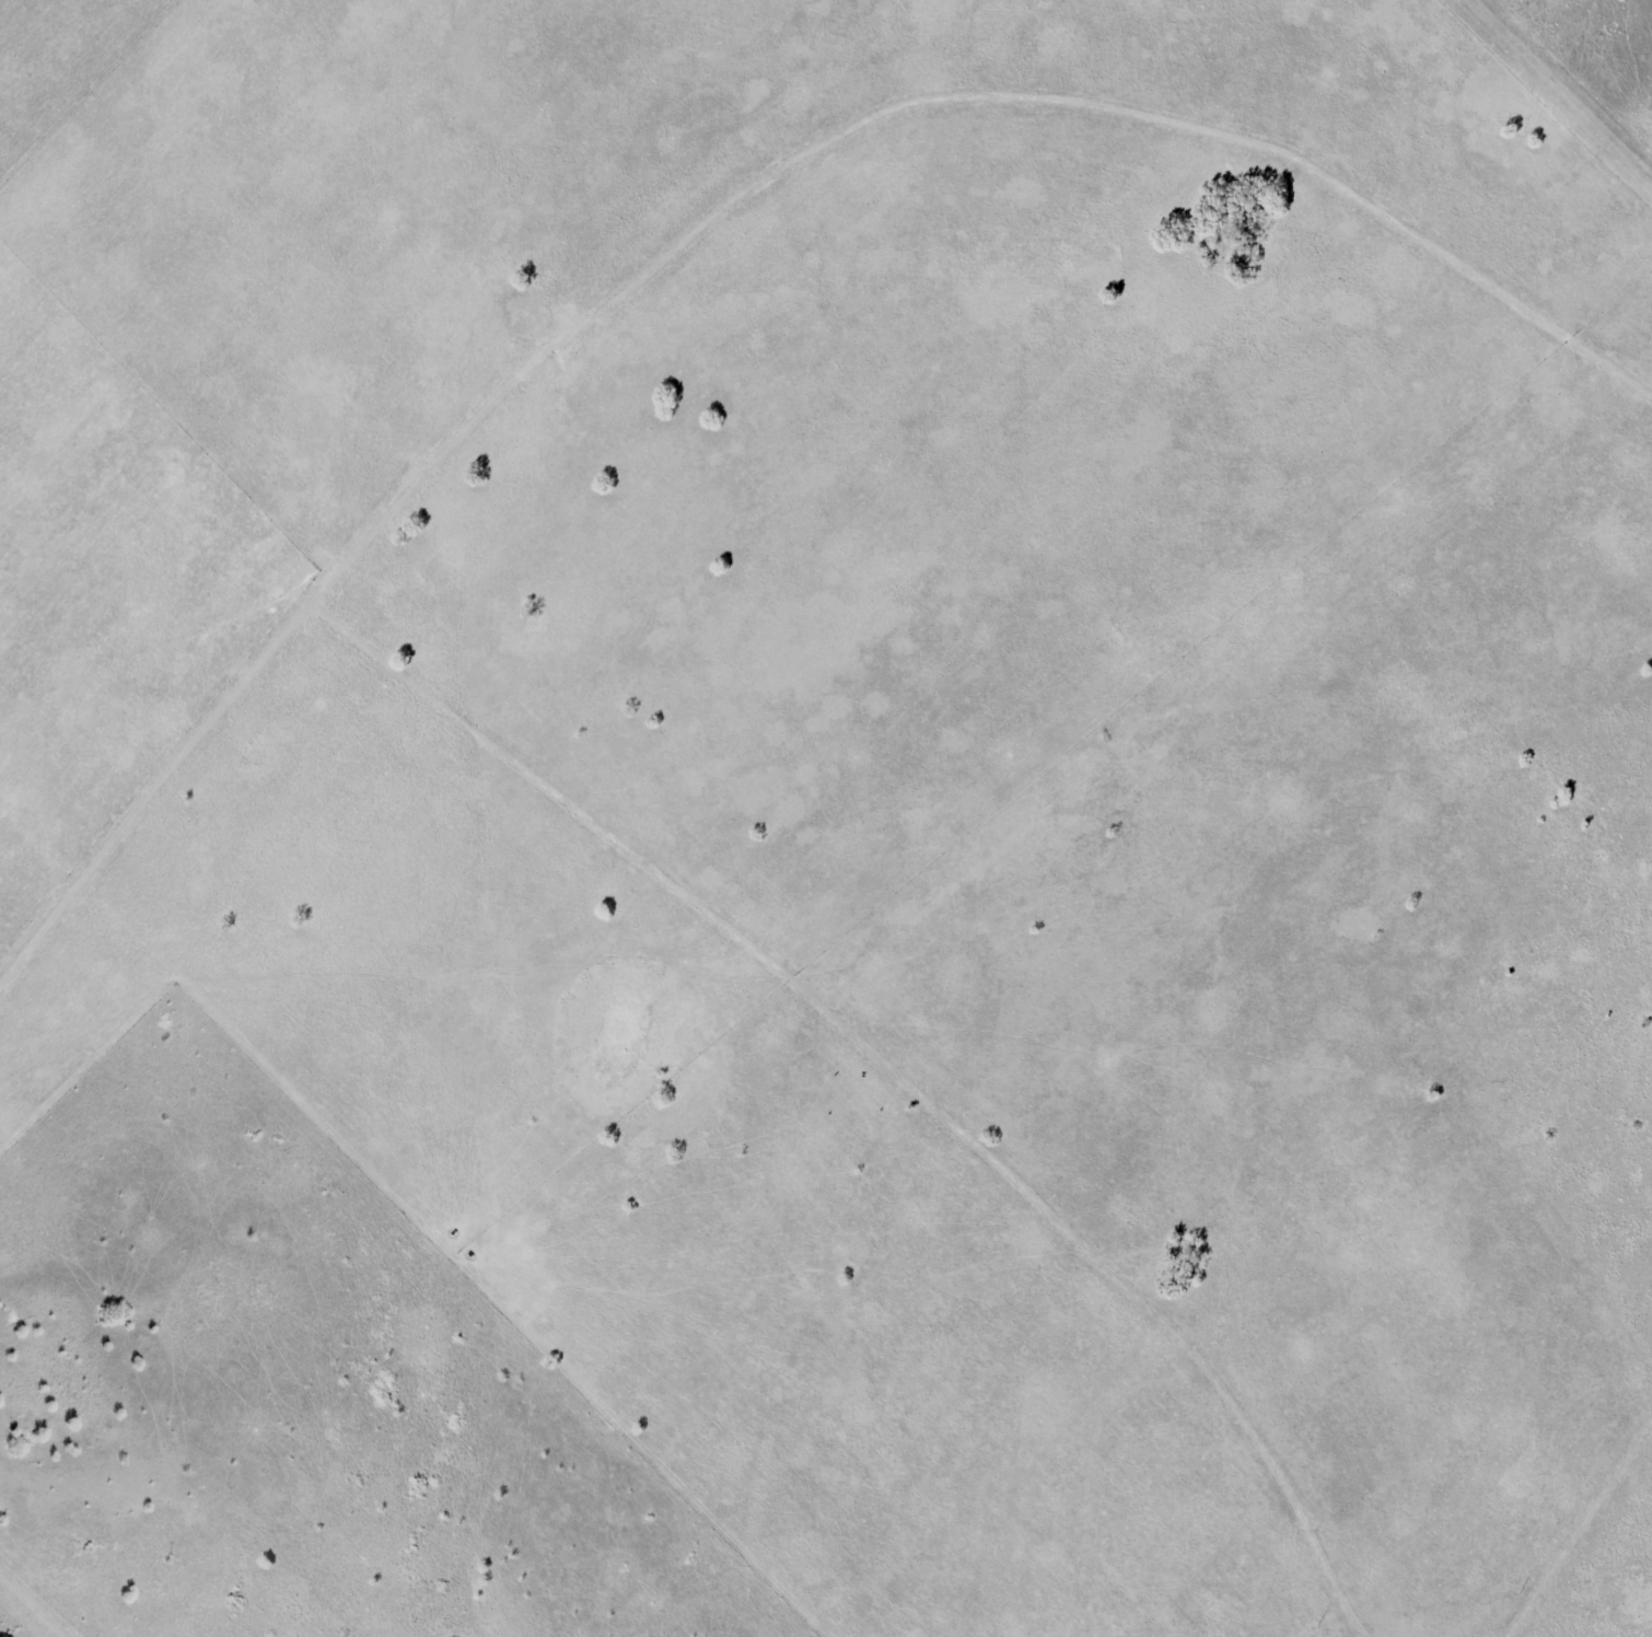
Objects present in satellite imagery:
road: (20, 1617)

